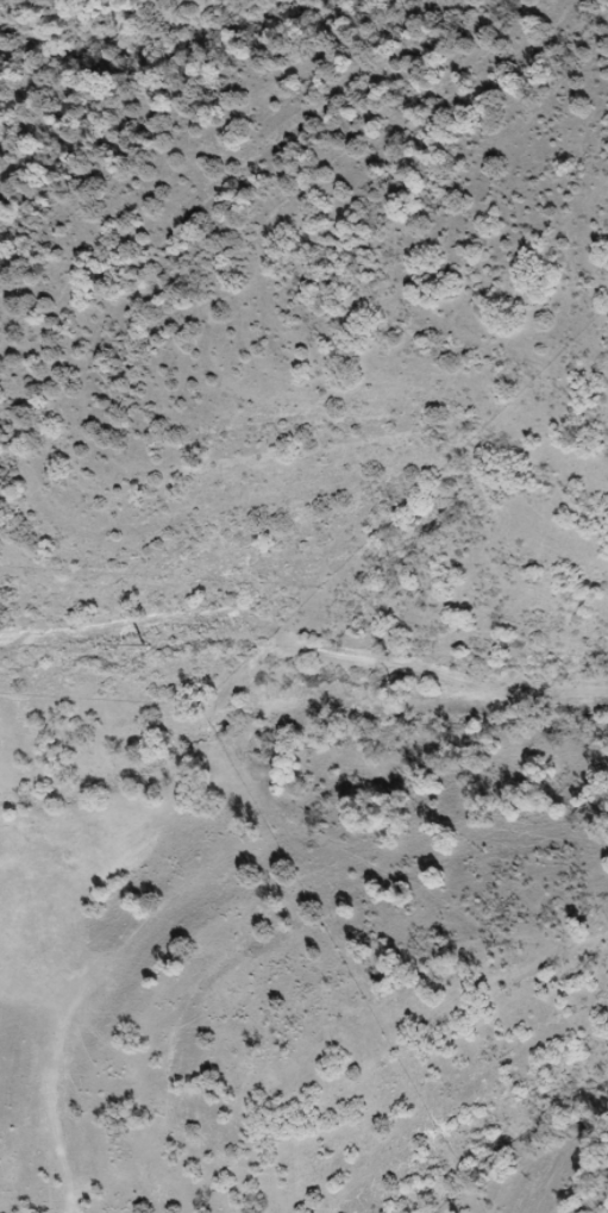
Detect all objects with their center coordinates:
power tower: (152, 646)

